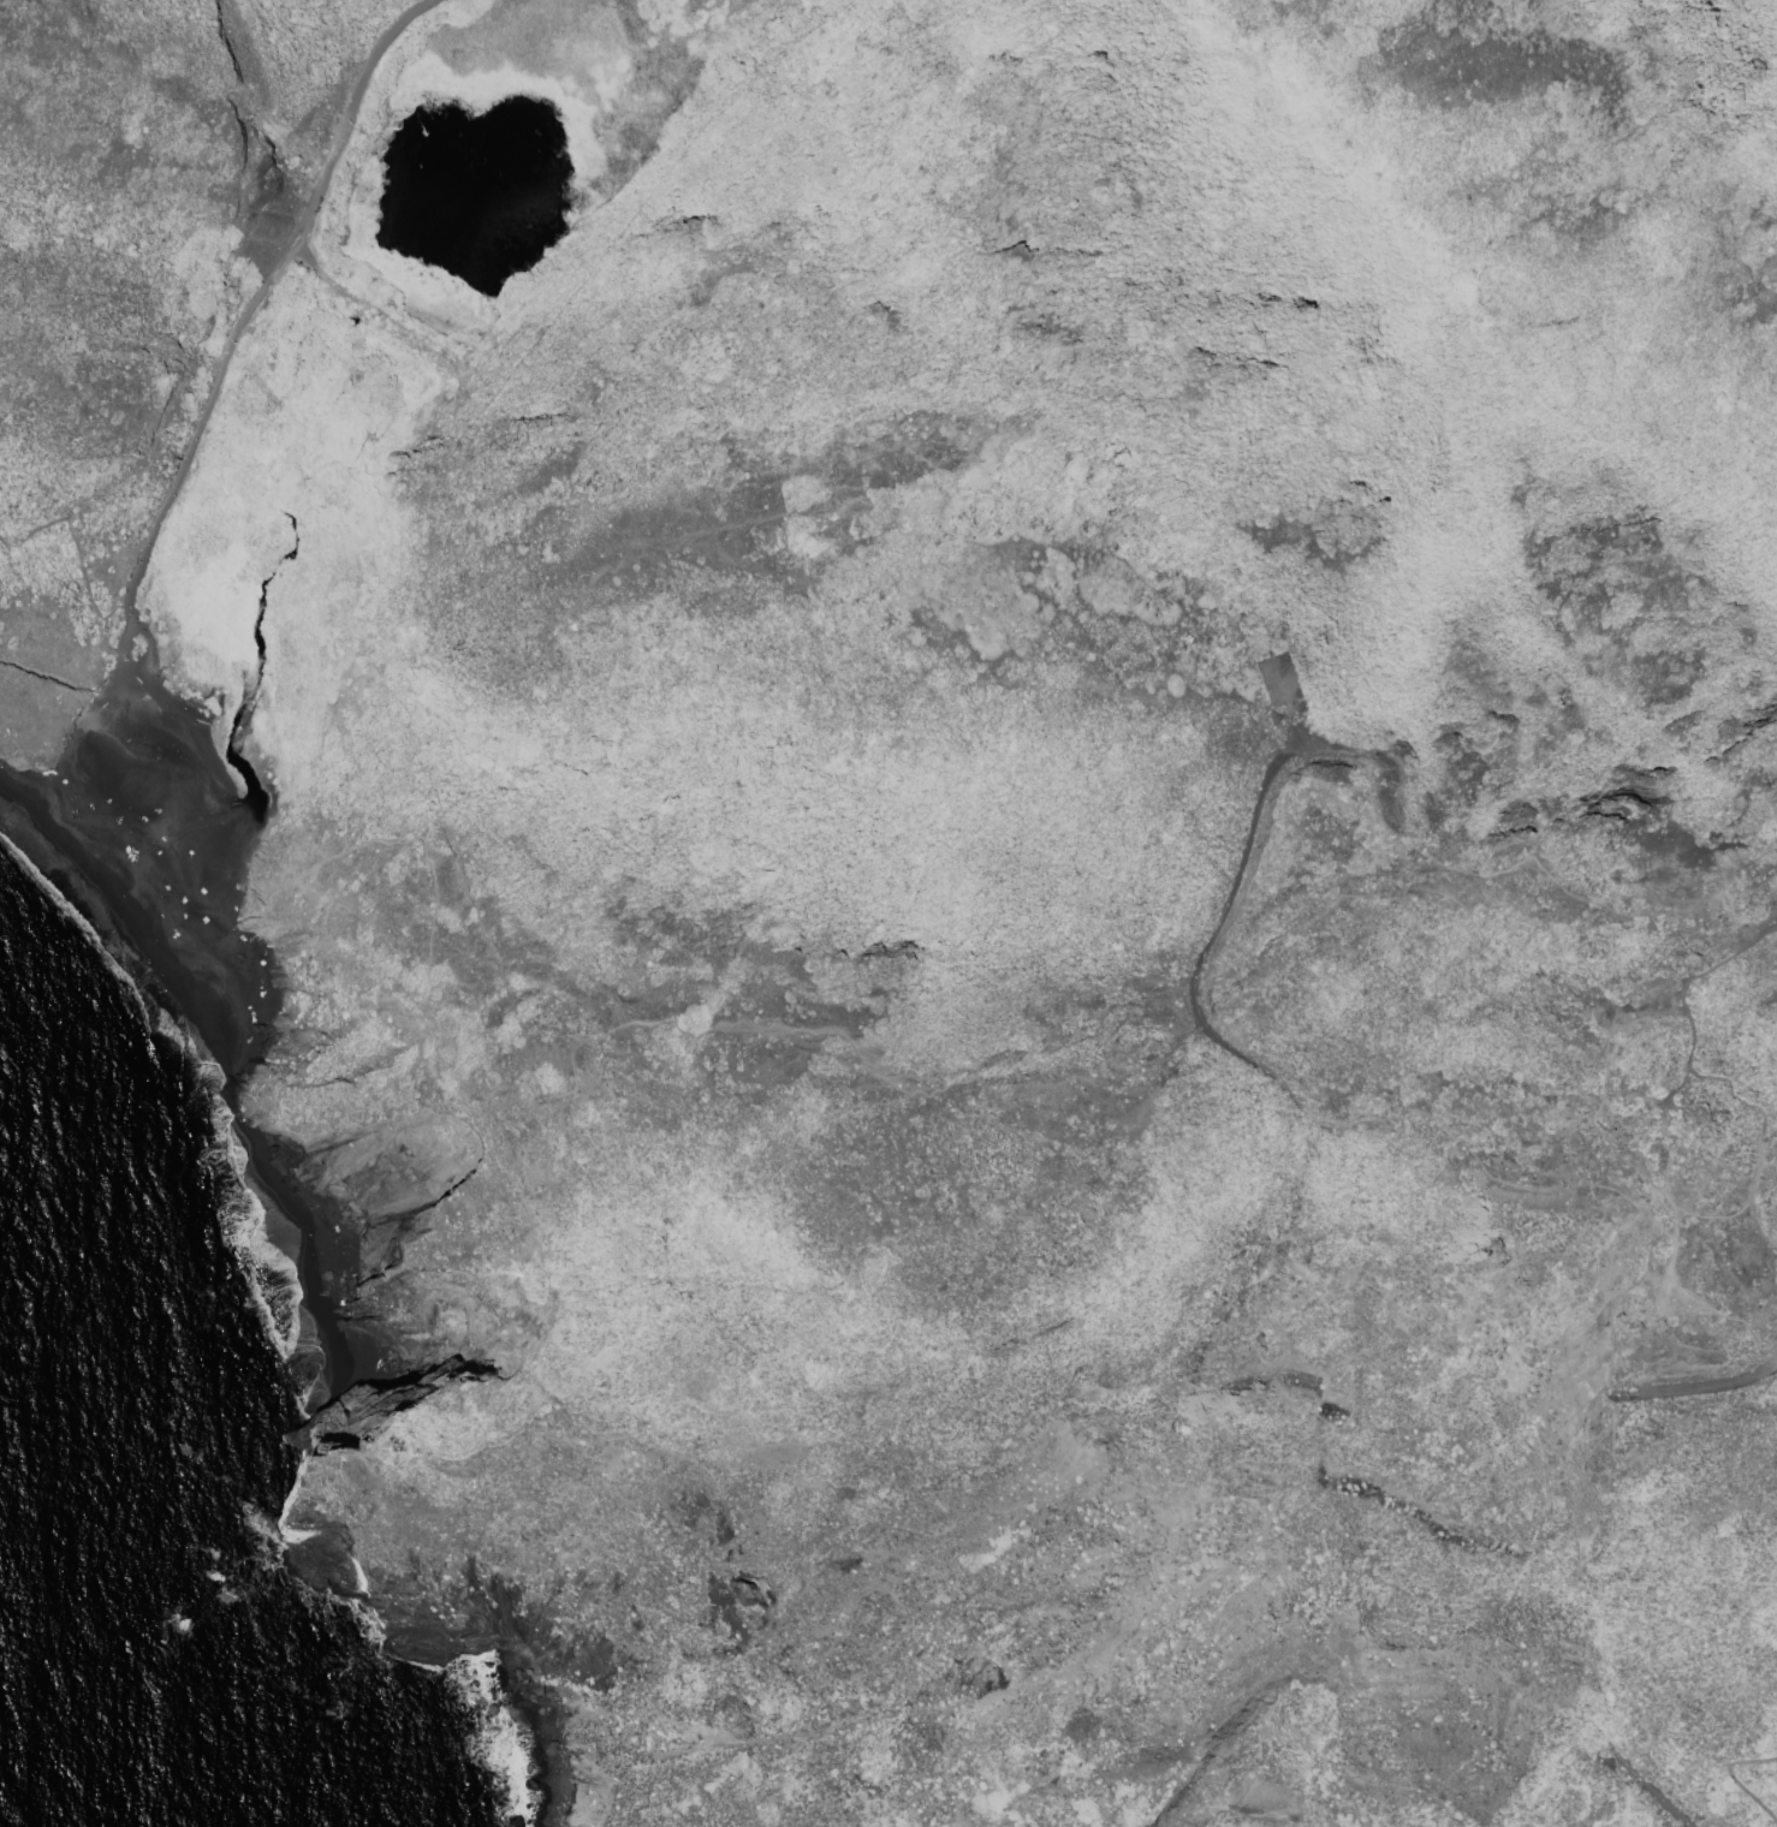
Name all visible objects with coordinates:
road: (340, 139)
dam: (388, 322)
road: (173, 486)
road: (36, 532)
road: (109, 613)
road: (1285, 751)
road: (1432, 859)
road: (843, 1029)
road: (1693, 1077)
road: (546, 1127)
road: (522, 1194)
road: (1770, 1370)
road: (1770, 1374)
road: (1689, 1394)
road: (1733, 1778)
road: (1639, 1785)

